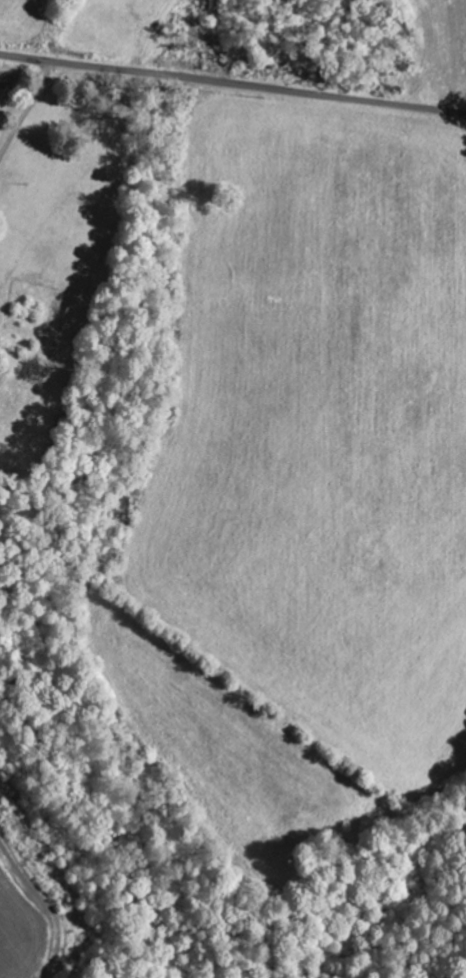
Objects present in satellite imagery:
road: (233, 85)

